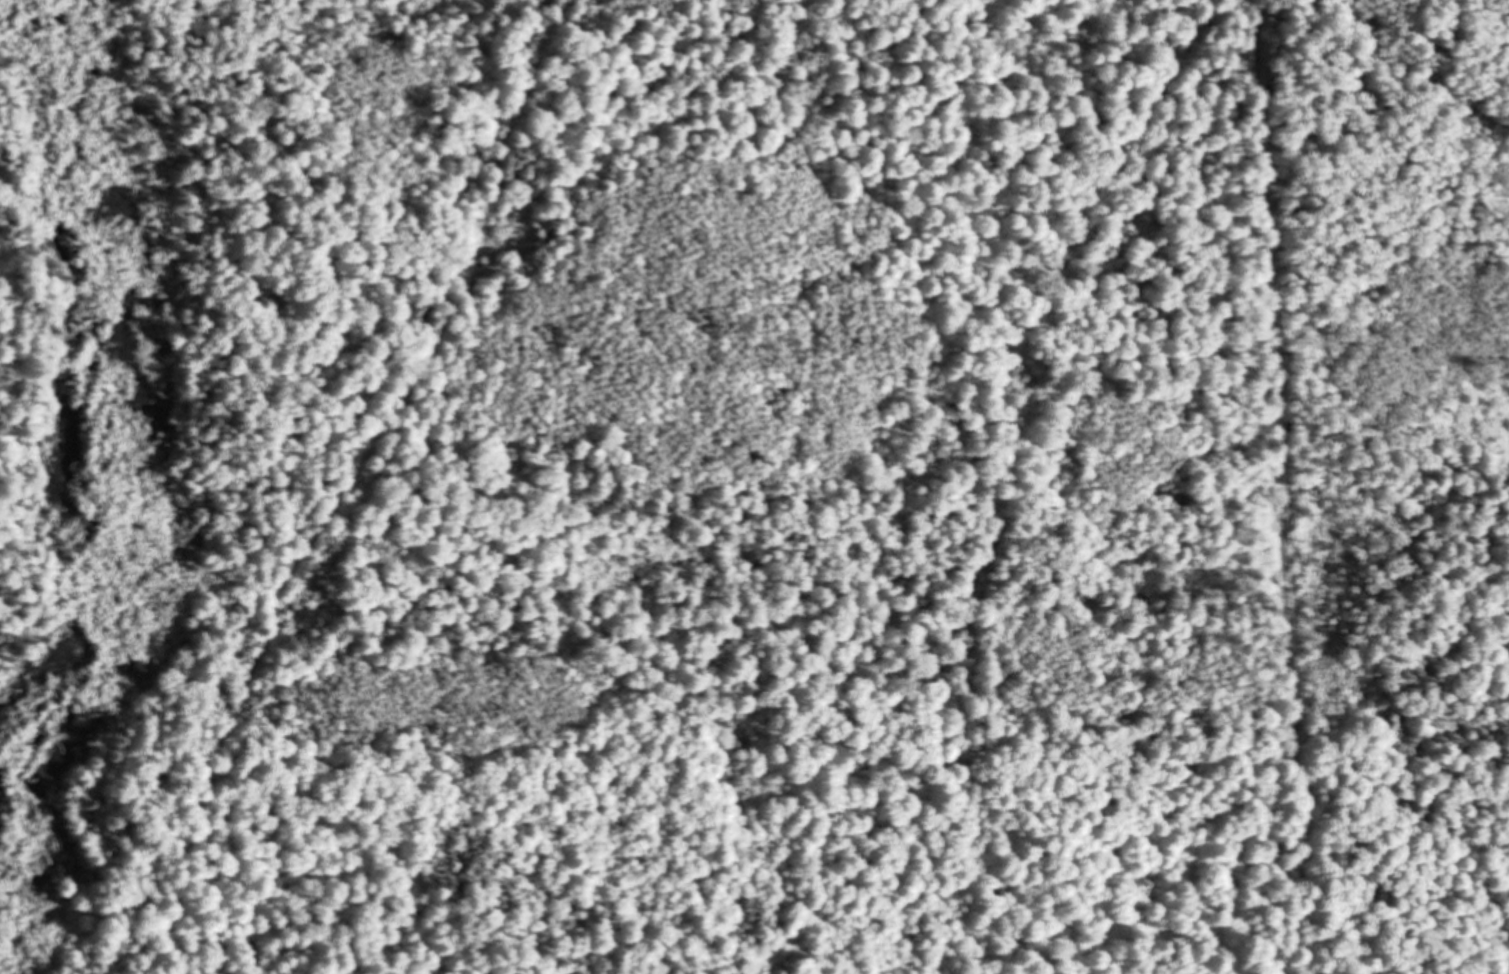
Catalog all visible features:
road: (1276, 486)

